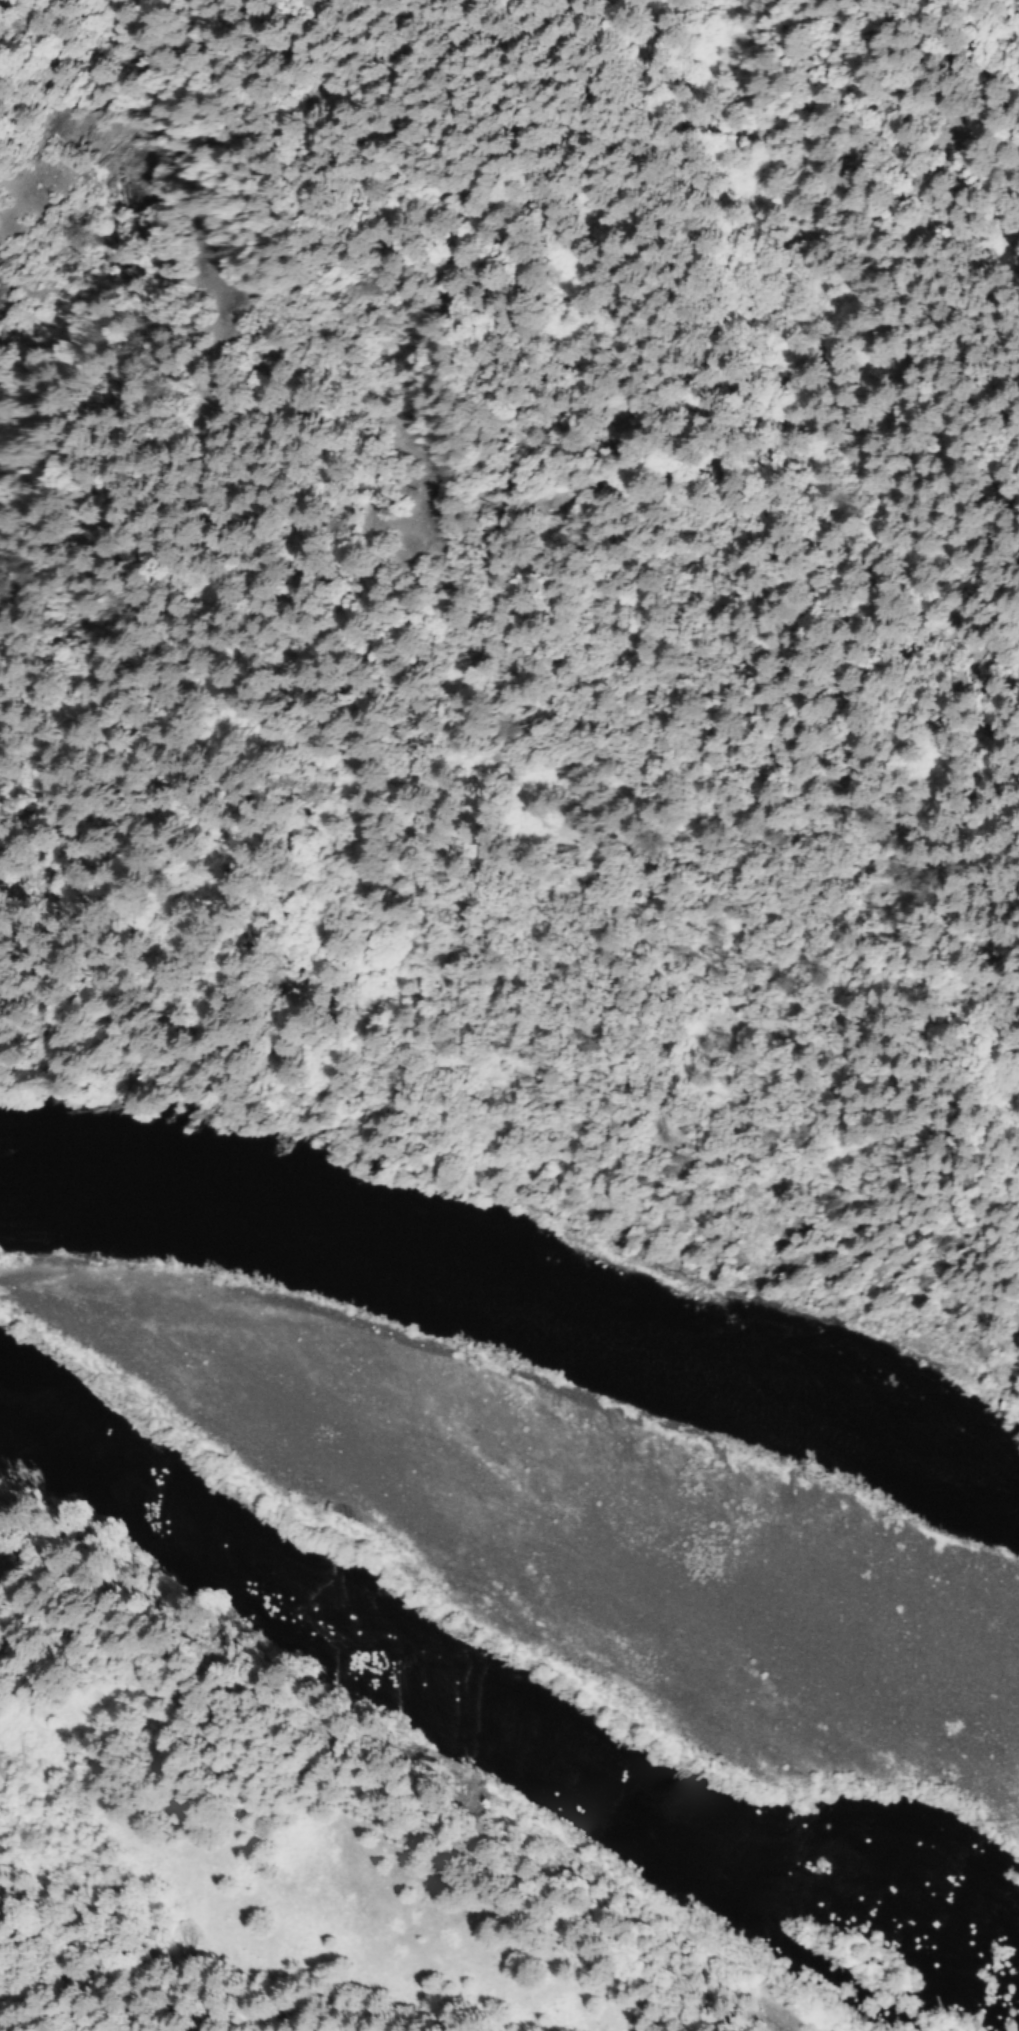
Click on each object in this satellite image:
road: (493, 997)
river: (497, 1693)

